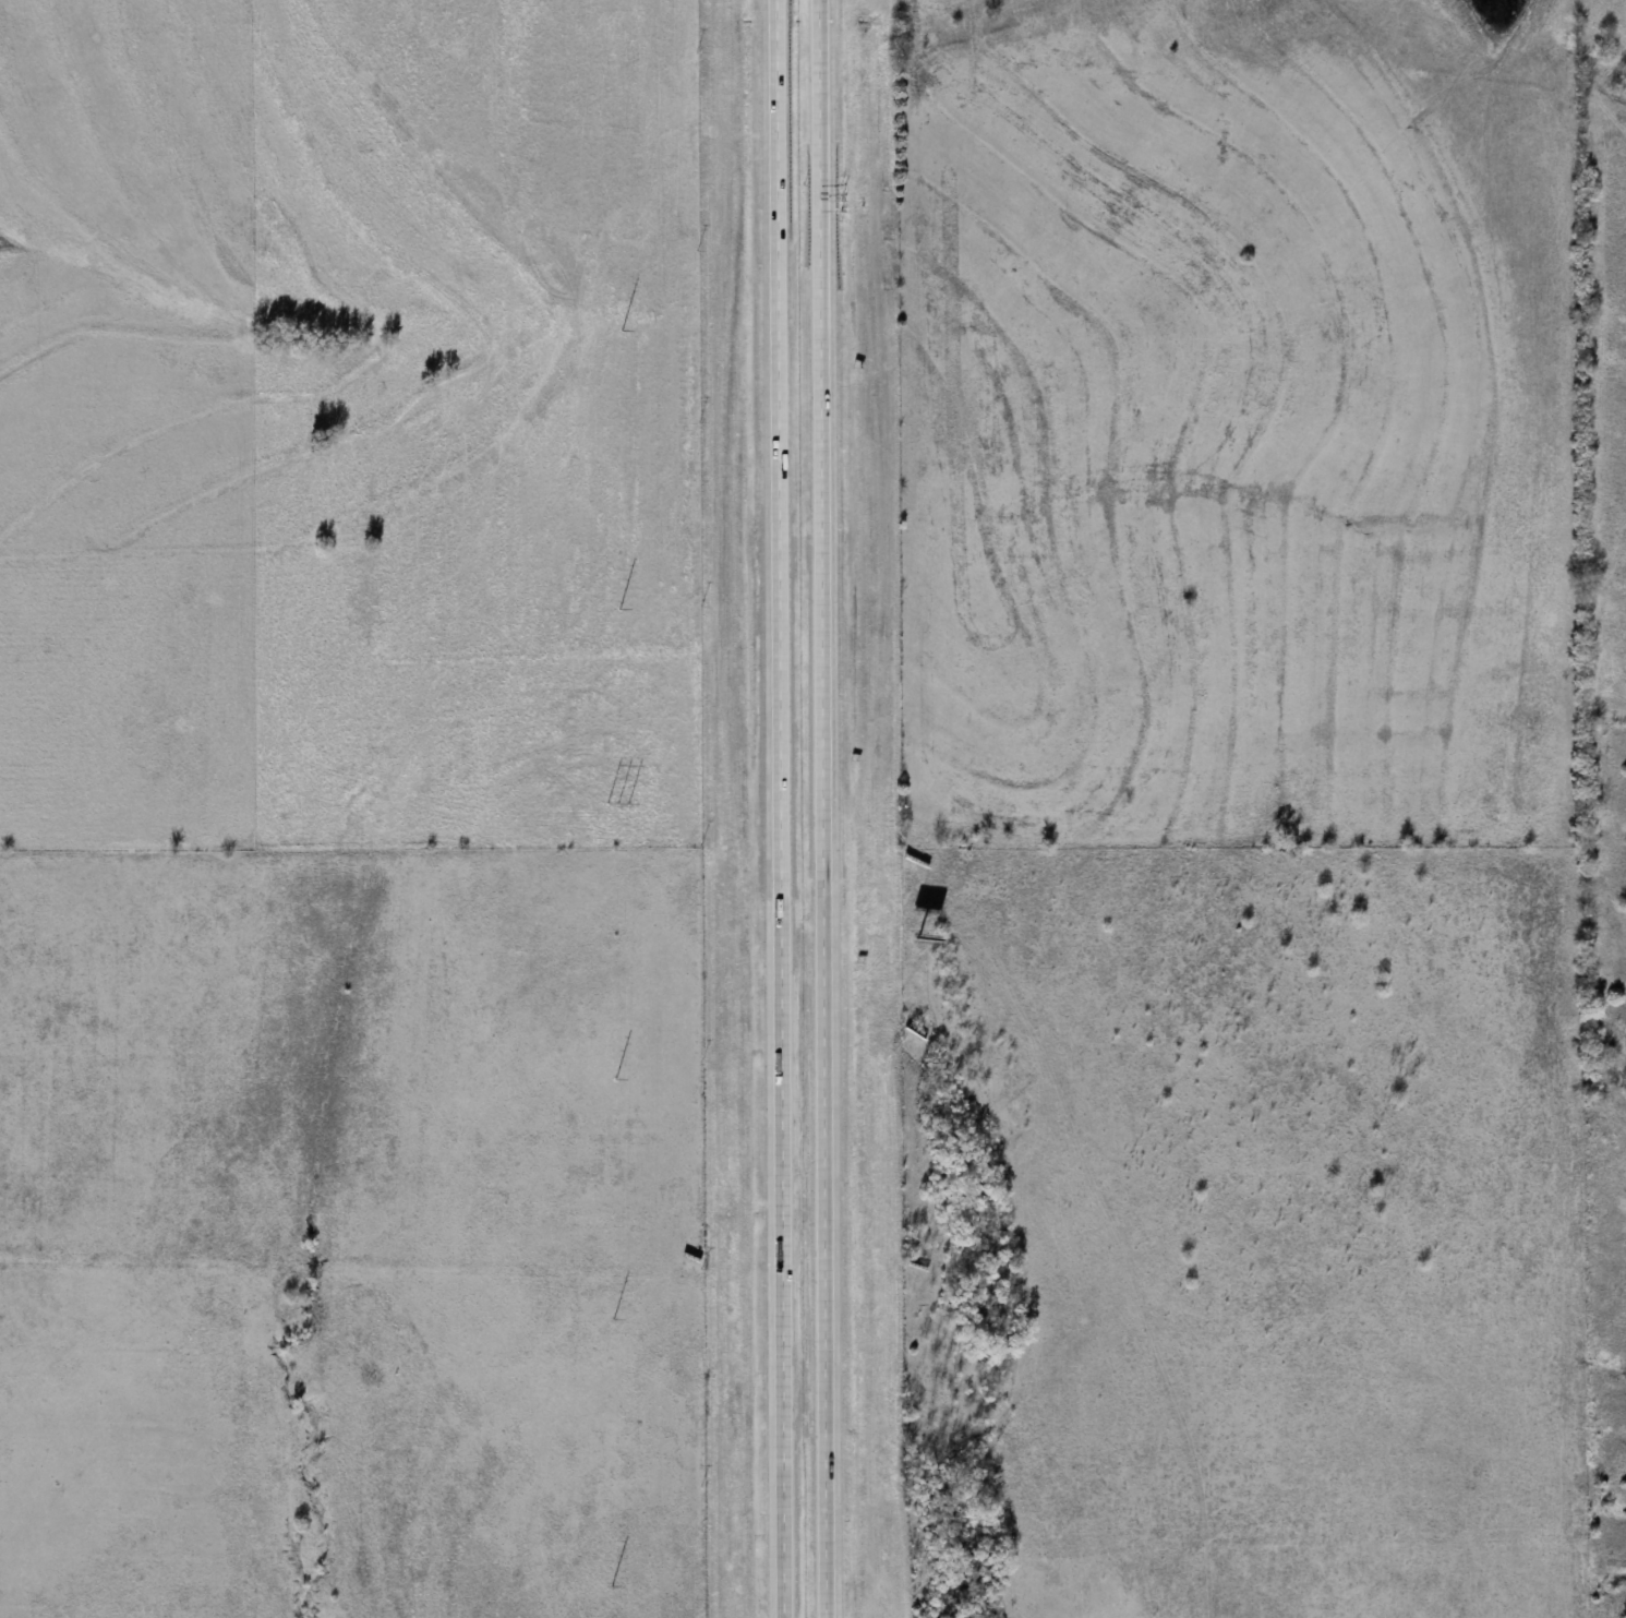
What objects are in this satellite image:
road: (770, 808)
road: (812, 808)

